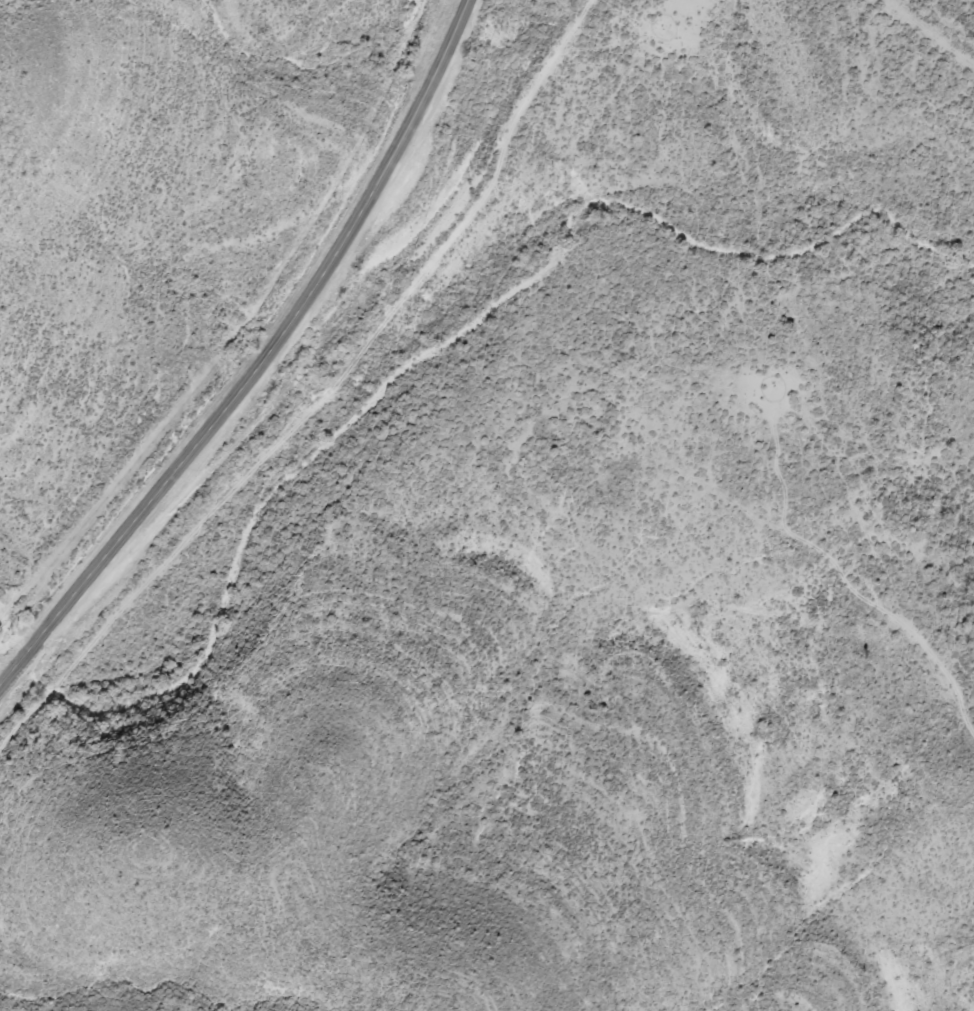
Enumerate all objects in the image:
road: (263, 361)

